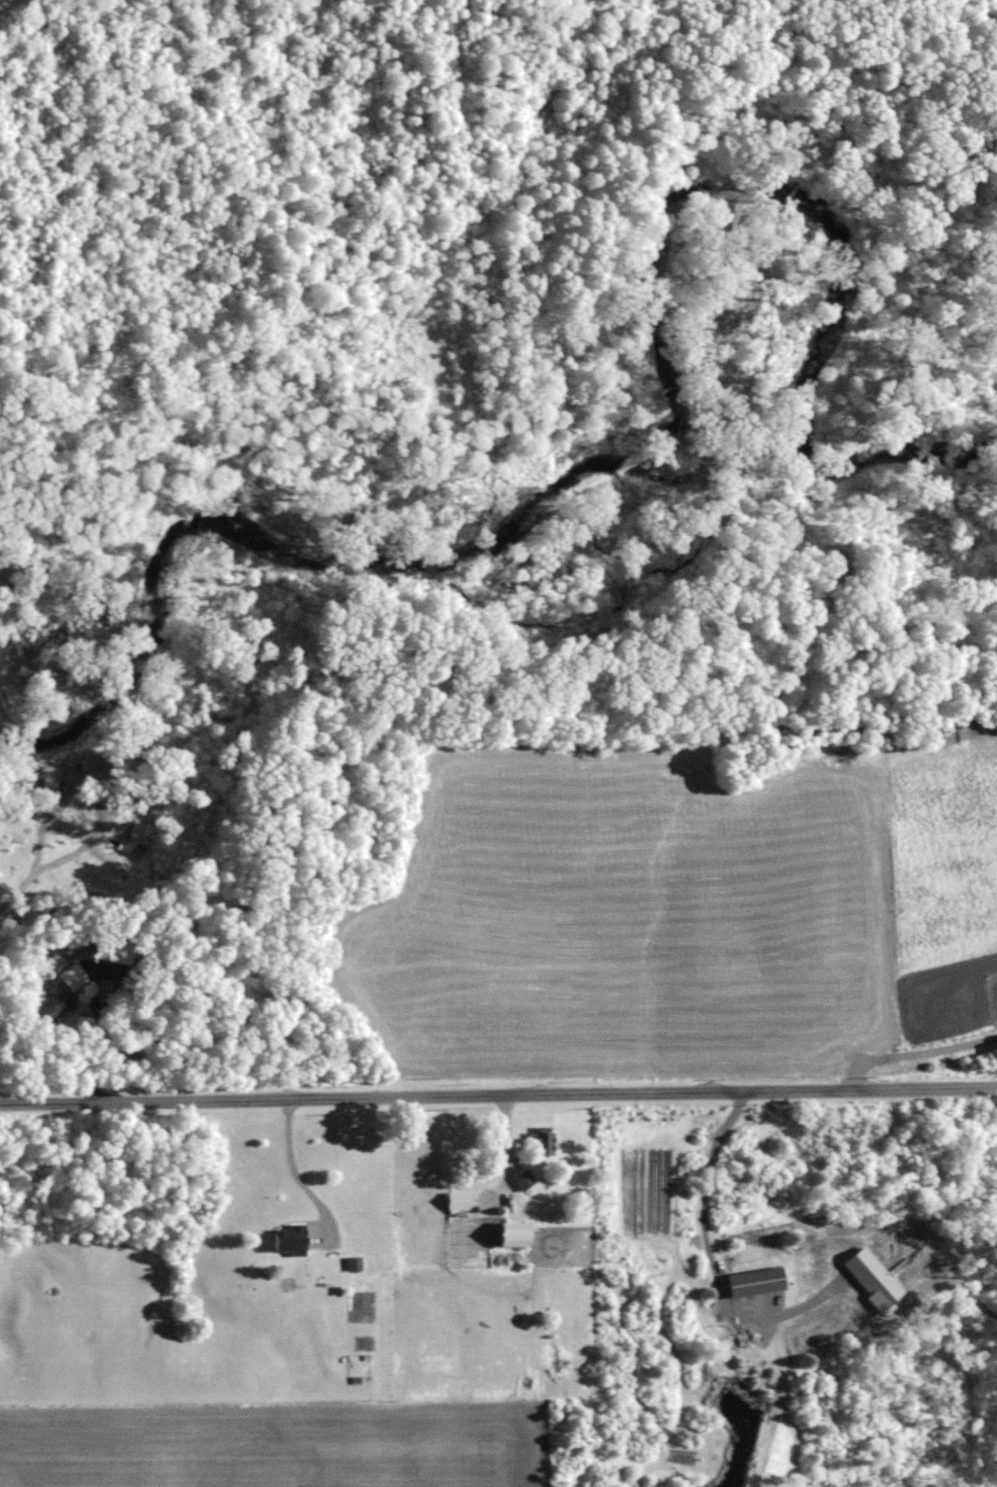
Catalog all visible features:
road: (38, 861)
road: (99, 1010)
road: (914, 1055)
road: (498, 1098)
building: (541, 1141)
road: (294, 1173)
building: (523, 1179)
road: (705, 1192)
building: (510, 1235)
building: (288, 1242)

